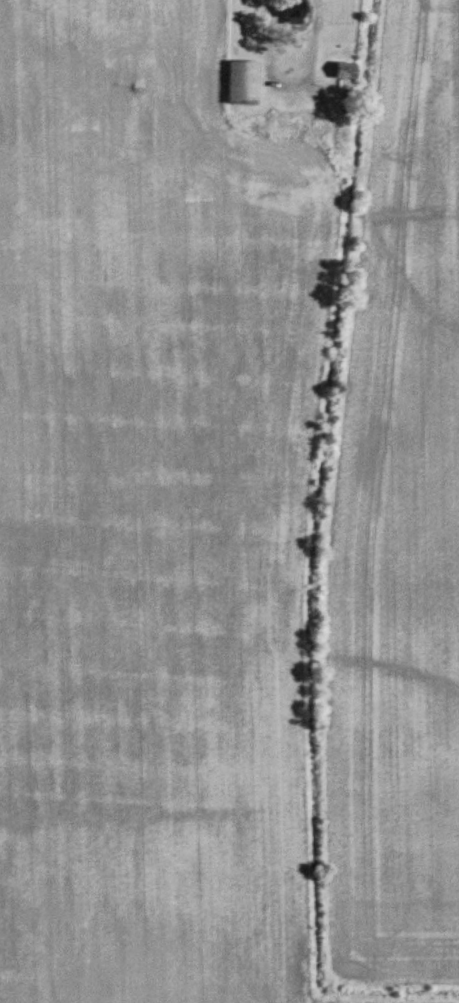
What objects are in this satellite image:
building: (295, 12)
building: (346, 71)
building: (243, 84)
building: (347, 131)
building: (294, 133)

